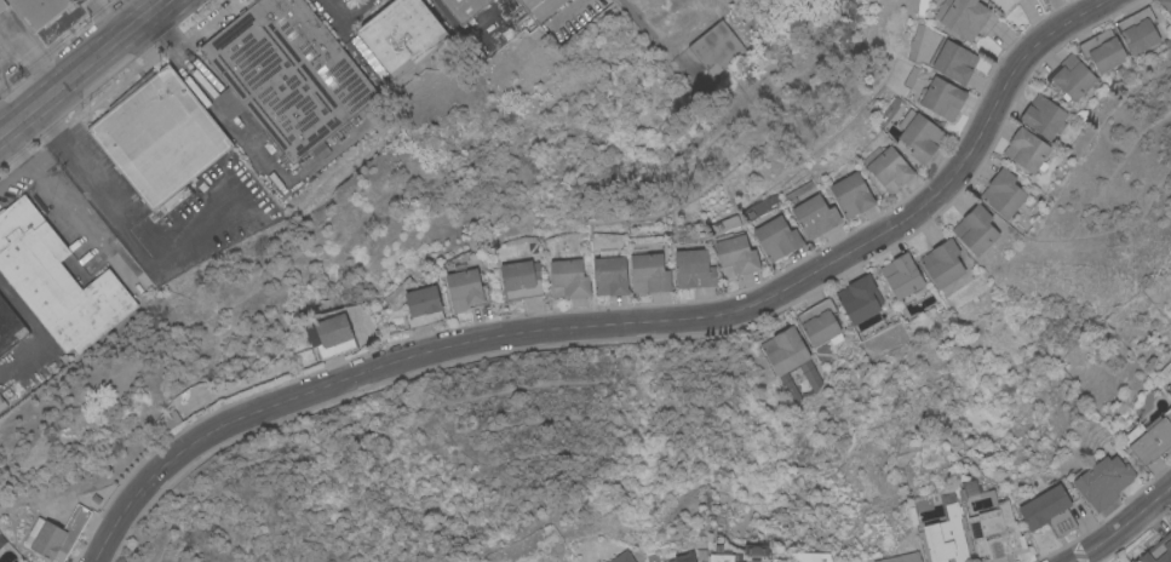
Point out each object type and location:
building: (1041, 0)
building: (1045, 0)
building: (1, 4)
building: (1003, 4)
building: (1166, 5)
building: (463, 7)
building: (540, 7)
building: (36, 11)
building: (962, 16)
road: (113, 17)
road: (345, 17)
building: (1136, 30)
building: (401, 35)
building: (716, 47)
building: (1102, 52)
building: (953, 62)
road: (84, 68)
building: (288, 75)
building: (1069, 78)
building: (942, 98)
building: (1043, 116)
road: (1, 132)
building: (157, 134)
building: (918, 134)
building: (1026, 150)
road: (78, 165)
building: (889, 168)
building: (1001, 193)
building: (851, 195)
building: (173, 196)
building: (814, 217)
building: (975, 229)
building: (776, 237)
building: (734, 254)
building: (942, 263)
building: (694, 268)
building: (648, 273)
building: (609, 275)
building: (901, 275)
building: (568, 279)
building: (54, 280)
building: (518, 280)
building: (465, 288)
building: (859, 298)
building: (421, 306)
road: (622, 322)
building: (819, 322)
building: (10, 327)
building: (331, 337)
building: (783, 350)
building: (304, 356)
building: (1167, 386)
building: (1169, 392)
building: (1, 403)
building: (1150, 437)
building: (1102, 481)
building: (1047, 511)
road: (1124, 526)
building: (994, 532)
building: (58, 535)
building: (946, 537)
building: (1158, 550)
building: (621, 557)
building: (721, 557)
building: (901, 557)
building: (681, 558)
building: (2, 561)

